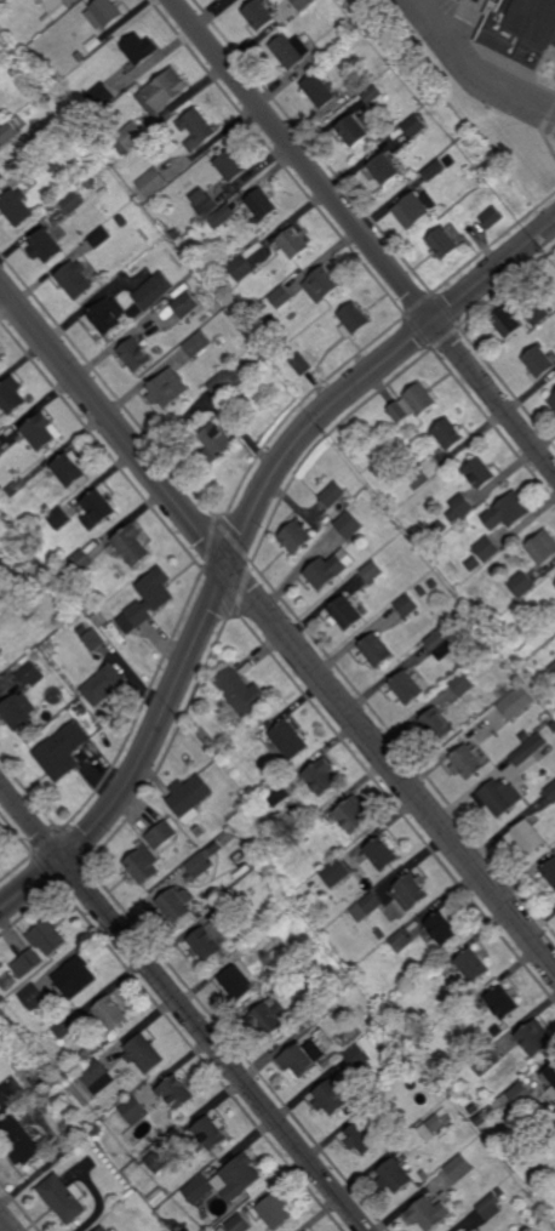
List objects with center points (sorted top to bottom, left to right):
building: (40, 0)
building: (303, 4)
building: (57, 7)
building: (105, 12)
building: (259, 15)
building: (48, 19)
building: (354, 25)
building: (528, 34)
building: (95, 42)
building: (142, 47)
building: (292, 50)
building: (6, 55)
building: (80, 56)
road: (476, 68)
building: (166, 90)
building: (321, 91)
building: (373, 93)
building: (45, 98)
building: (99, 98)
building: (21, 121)
building: (201, 125)
building: (414, 125)
building: (355, 129)
building: (510, 129)
building: (8, 131)
building: (492, 136)
building: (131, 137)
building: (51, 160)
building: (451, 160)
building: (234, 165)
building: (384, 169)
building: (435, 170)
building: (1, 175)
building: (155, 182)
building: (92, 183)
building: (74, 201)
building: (206, 201)
building: (264, 203)
building: (17, 206)
road: (538, 207)
building: (416, 209)
building: (224, 216)
building: (493, 217)
building: (124, 221)
building: (102, 235)
road: (364, 236)
building: (293, 243)
building: (444, 243)
building: (46, 246)
building: (244, 267)
building: (75, 278)
building: (322, 284)
building: (281, 296)
building: (189, 303)
building: (125, 307)
building: (538, 310)
building: (353, 319)
building: (509, 321)
building: (200, 343)
building: (133, 354)
building: (540, 361)
building: (302, 365)
building: (247, 371)
building: (227, 383)
building: (168, 388)
building: (12, 394)
building: (553, 400)
building: (413, 404)
building: (40, 432)
building: (450, 435)
building: (218, 443)
building: (0, 455)
building: (70, 469)
building: (385, 469)
building: (424, 473)
building: (480, 473)
building: (17, 488)
building: (333, 495)
building: (460, 508)
building: (98, 509)
building: (509, 512)
building: (58, 518)
building: (350, 525)
building: (440, 529)
building: (296, 538)
road: (242, 540)
building: (132, 545)
building: (544, 547)
building: (487, 549)
building: (76, 564)
building: (475, 564)
building: (387, 565)
building: (330, 571)
building: (373, 572)
building: (434, 585)
building: (523, 586)
building: (422, 592)
building: (149, 600)
building: (407, 606)
building: (347, 612)
building: (29, 614)
building: (98, 616)
road: (276, 625)
building: (82, 628)
building: (477, 633)
building: (93, 640)
building: (517, 640)
building: (439, 644)
building: (376, 649)
building: (553, 667)
building: (29, 674)
building: (463, 683)
building: (104, 685)
building: (430, 685)
building: (405, 686)
building: (241, 693)
building: (517, 702)
building: (18, 709)
building: (437, 723)
building: (553, 726)
building: (525, 735)
building: (288, 739)
building: (221, 740)
building: (62, 751)
building: (521, 754)
building: (467, 762)
building: (321, 776)
building: (551, 791)
building: (251, 792)
building: (277, 794)
building: (190, 796)
building: (498, 797)
building: (351, 814)
building: (309, 830)
building: (199, 831)
building: (161, 836)
building: (527, 837)
building: (382, 853)
building: (0, 859)
building: (201, 864)
building: (142, 865)
building: (336, 872)
building: (549, 873)
building: (410, 893)
building: (173, 906)
building: (365, 907)
building: (261, 924)
building: (445, 925)
building: (379, 934)
building: (47, 936)
building: (256, 936)
building: (207, 942)
building: (397, 944)
building: (235, 956)
building: (28, 963)
building: (474, 964)
building: (431, 975)
building: (76, 978)
building: (344, 979)
building: (238, 980)
building: (280, 985)
building: (34, 997)
building: (504, 1002)
road: (184, 1005)
building: (113, 1013)
building: (269, 1016)
building: (65, 1028)
building: (1, 1031)
building: (320, 1033)
building: (537, 1038)
building: (317, 1049)
building: (144, 1054)
building: (86, 1055)
building: (356, 1058)
building: (298, 1060)
building: (485, 1061)
building: (326, 1064)
building: (550, 1075)
building: (97, 1077)
building: (38, 1081)
building: (177, 1092)
building: (551, 1092)
building: (521, 1095)
building: (330, 1099)
building: (0, 1105)
building: (474, 1109)
building: (135, 1111)
building: (480, 1121)
building: (433, 1125)
building: (530, 1125)
building: (97, 1132)
building: (210, 1134)
building: (364, 1138)
building: (22, 1142)
building: (159, 1161)
building: (458, 1169)
building: (425, 1176)
building: (395, 1178)
building: (239, 1179)
building: (418, 1181)
building: (199, 1190)
building: (500, 1193)
building: (64, 1198)
building: (490, 1207)
building: (275, 1213)
building: (428, 1214)
road: (6, 1221)
building: (238, 1224)
building: (105, 1229)

